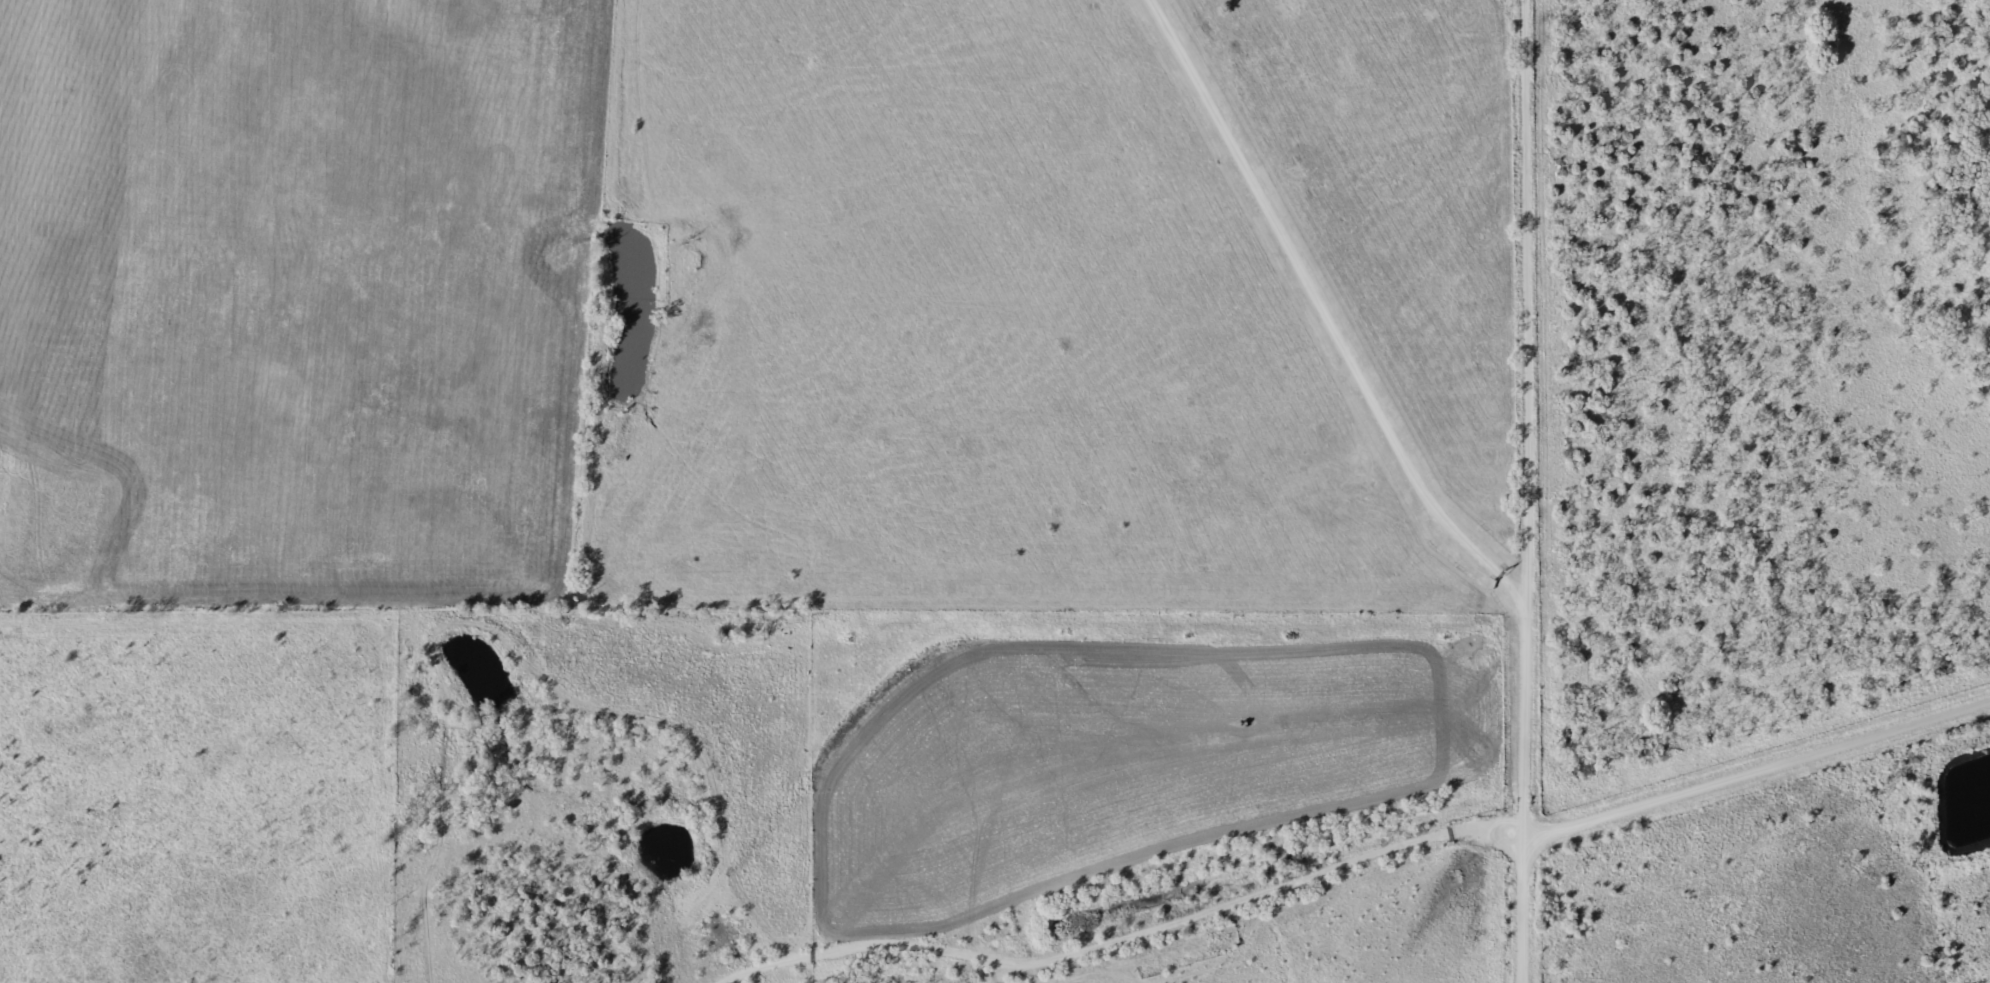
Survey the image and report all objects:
road: (1326, 316)
road: (1524, 491)
road: (1753, 772)
railway: (1442, 816)
road: (1243, 895)

